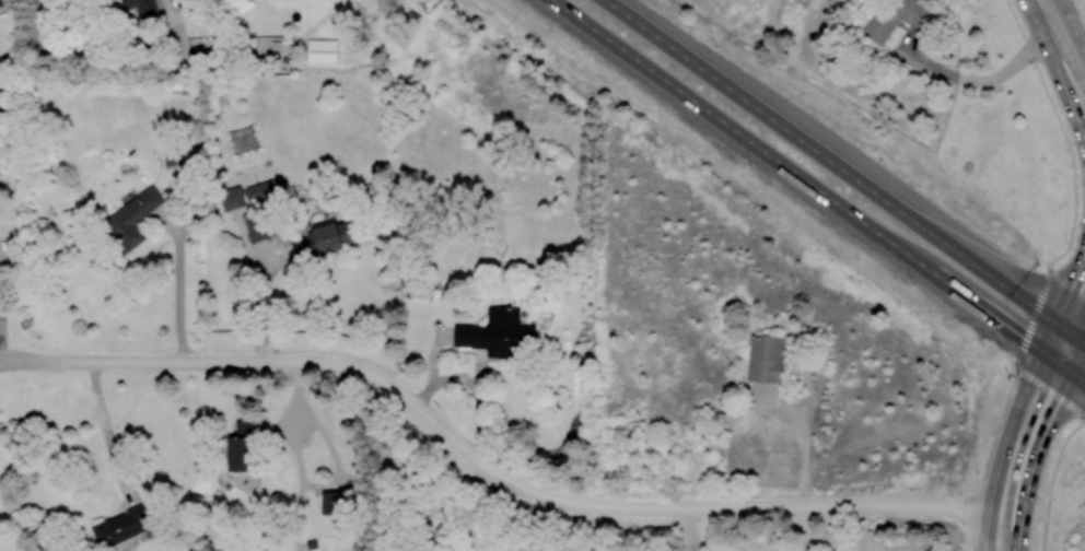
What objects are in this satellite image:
building: (143, 9)
building: (897, 17)
road: (1054, 22)
road: (1073, 25)
road: (113, 40)
street lamp: (582, 47)
street lamp: (717, 49)
building: (323, 50)
road: (1057, 71)
road: (976, 81)
street lamp: (879, 159)
street lamp: (750, 166)
road: (845, 171)
building: (259, 189)
road: (819, 190)
building: (232, 198)
building: (132, 218)
building: (257, 225)
building: (323, 238)
street lamp: (1038, 263)
street lamp: (911, 282)
road: (179, 283)
traffic signals: (1073, 284)
road: (1042, 289)
road: (1064, 300)
road: (260, 303)
traffic signals: (1014, 330)
building: (497, 333)
road: (1077, 355)
building: (766, 357)
road: (191, 362)
street lamp: (1007, 378)
traffic signals: (1053, 409)
road: (433, 415)
building: (710, 422)
road: (1010, 426)
road: (108, 432)
building: (241, 446)
street lamp: (1058, 447)
road: (1035, 458)
street lamp: (976, 470)
building: (330, 502)
road: (712, 505)
road: (972, 507)
road: (425, 523)
building: (121, 526)
road: (987, 528)
street lamp: (1036, 546)

